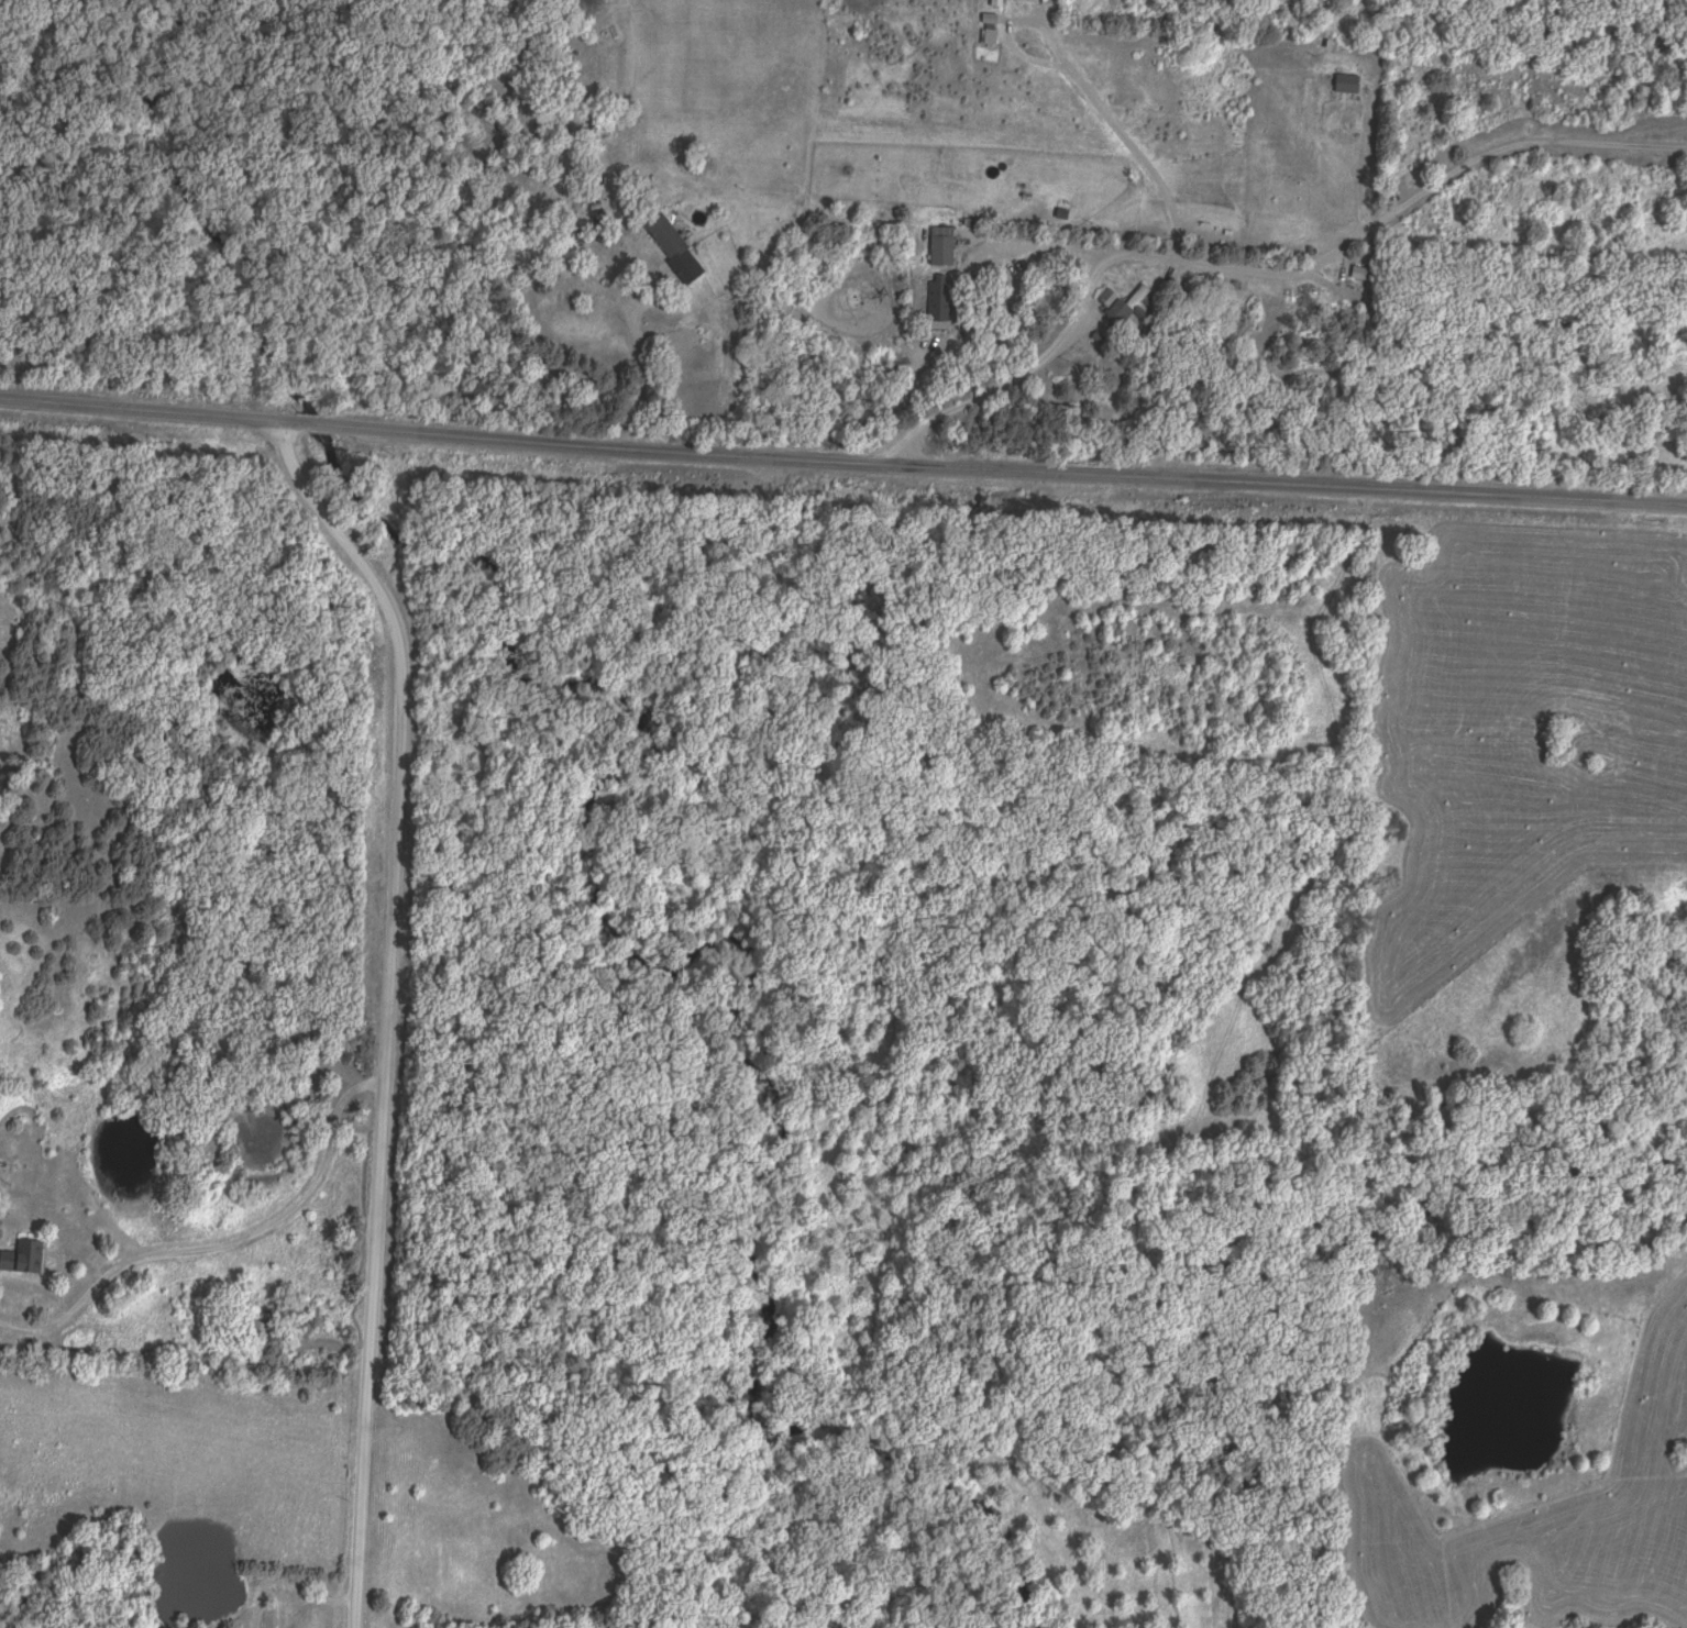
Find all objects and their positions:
road: (1034, 140)
building: (666, 237)
building: (942, 247)
road: (1334, 247)
building: (594, 294)
building: (940, 299)
building: (1113, 310)
road: (632, 367)
road: (1011, 379)
road: (842, 464)
road: (2, 601)
road: (390, 1006)
road: (230, 1252)
building: (26, 1259)
building: (261, 1330)

